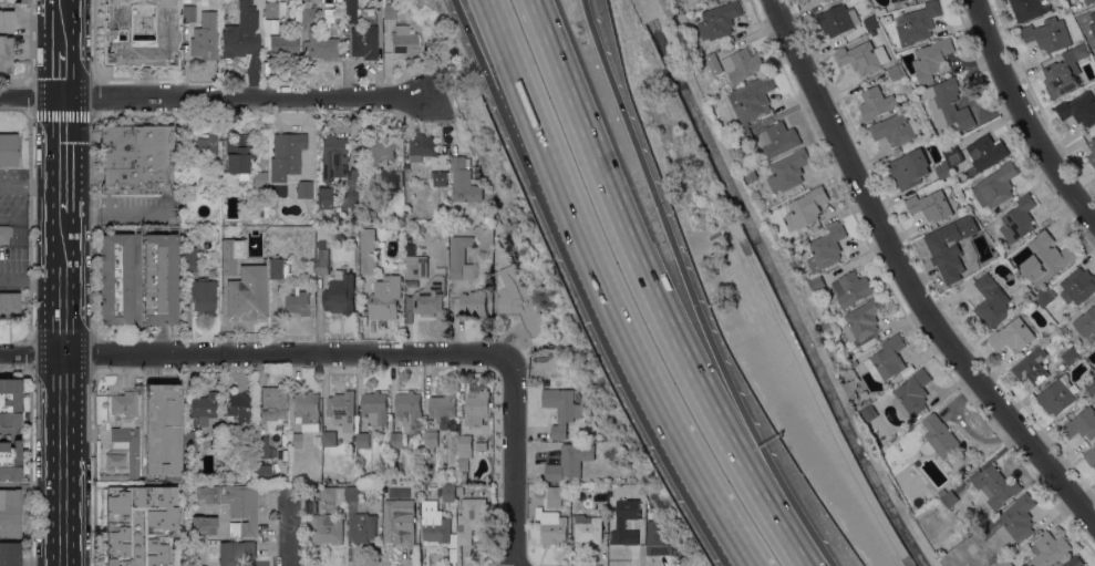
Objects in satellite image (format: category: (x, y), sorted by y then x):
building: (819, 0)
building: (829, 0)
building: (895, 0)
building: (909, 0)
building: (1081, 0)
building: (186, 1)
building: (693, 1)
building: (1088, 1)
building: (1029, 8)
building: (271, 9)
building: (254, 10)
building: (880, 10)
building: (394, 11)
building: (308, 12)
building: (188, 13)
building: (350, 16)
road: (63, 18)
building: (837, 20)
building: (7, 21)
building: (719, 21)
building: (871, 22)
building: (917, 23)
building: (1093, 23)
building: (291, 27)
building: (140, 33)
building: (1048, 34)
building: (205, 37)
building: (240, 42)
building: (364, 42)
building: (404, 42)
building: (320, 45)
building: (283, 48)
building: (699, 52)
building: (6, 54)
building: (862, 58)
building: (931, 59)
building: (711, 61)
building: (743, 65)
road: (63, 66)
building: (896, 72)
building: (1065, 72)
road: (216, 96)
building: (753, 100)
building: (877, 103)
building: (948, 104)
building: (1078, 109)
road: (1025, 116)
building: (717, 117)
building: (184, 127)
building: (896, 128)
building: (745, 135)
building: (781, 138)
building: (423, 146)
building: (204, 148)
building: (8, 150)
building: (379, 150)
building: (239, 153)
building: (977, 153)
building: (1092, 154)
road: (63, 158)
building: (136, 158)
road: (548, 161)
building: (289, 162)
road: (528, 163)
building: (339, 168)
building: (910, 168)
building: (216, 169)
building: (943, 169)
building: (789, 171)
building: (960, 176)
building: (259, 178)
building: (396, 178)
building: (464, 182)
building: (189, 185)
building: (440, 185)
building: (996, 186)
building: (324, 198)
building: (932, 205)
building: (806, 209)
building: (335, 218)
building: (1019, 219)
building: (353, 222)
building: (979, 226)
building: (4, 234)
road: (63, 241)
building: (827, 247)
building: (944, 249)
building: (368, 250)
building: (507, 257)
building: (1047, 258)
building: (189, 259)
building: (461, 259)
building: (322, 260)
building: (230, 261)
building: (415, 267)
building: (279, 268)
road: (907, 275)
building: (115, 278)
building: (953, 278)
building: (161, 279)
building: (817, 284)
building: (1077, 286)
building: (851, 289)
road: (653, 291)
road: (691, 291)
building: (340, 294)
building: (203, 295)
building: (250, 296)
building: (385, 296)
building: (431, 297)
building: (1045, 297)
building: (991, 301)
building: (297, 302)
building: (474, 303)
building: (1094, 303)
building: (9, 305)
building: (519, 305)
road: (63, 307)
building: (864, 320)
building: (1086, 325)
building: (1062, 328)
building: (1013, 336)
road: (254, 351)
building: (1070, 356)
building: (887, 359)
building: (853, 363)
building: (1032, 367)
building: (1091, 385)
building: (855, 388)
building: (912, 393)
building: (1056, 395)
road: (63, 400)
building: (9, 402)
building: (272, 402)
building: (868, 402)
building: (124, 403)
building: (443, 407)
building: (204, 408)
building: (239, 408)
building: (478, 408)
building: (307, 409)
building: (375, 409)
building: (409, 409)
building: (342, 410)
building: (561, 410)
building: (869, 413)
building: (1082, 424)
building: (162, 430)
building: (939, 438)
building: (189, 439)
building: (329, 439)
building: (296, 440)
building: (397, 440)
building: (363, 441)
building: (431, 441)
building: (482, 445)
road: (680, 445)
building: (261, 446)
building: (465, 446)
building: (127, 447)
building: (1091, 457)
road: (513, 460)
building: (9, 461)
building: (570, 462)
road: (63, 466)
building: (261, 471)
building: (463, 476)
building: (361, 480)
road: (31, 485)
building: (422, 486)
building: (996, 486)
building: (352, 493)
building: (452, 493)
building: (601, 493)
building: (334, 494)
building: (557, 495)
building: (948, 497)
building: (605, 507)
building: (240, 508)
building: (10, 513)
building: (472, 518)
building: (400, 522)
building: (1013, 522)
building: (435, 523)
building: (620, 524)
road: (63, 525)
building: (138, 525)
building: (551, 526)
building: (364, 527)
building: (329, 528)
building: (588, 528)
road: (289, 535)
building: (657, 539)
building: (1048, 550)
building: (230, 553)
building: (10, 554)
building: (1075, 562)
building: (1005, 563)

